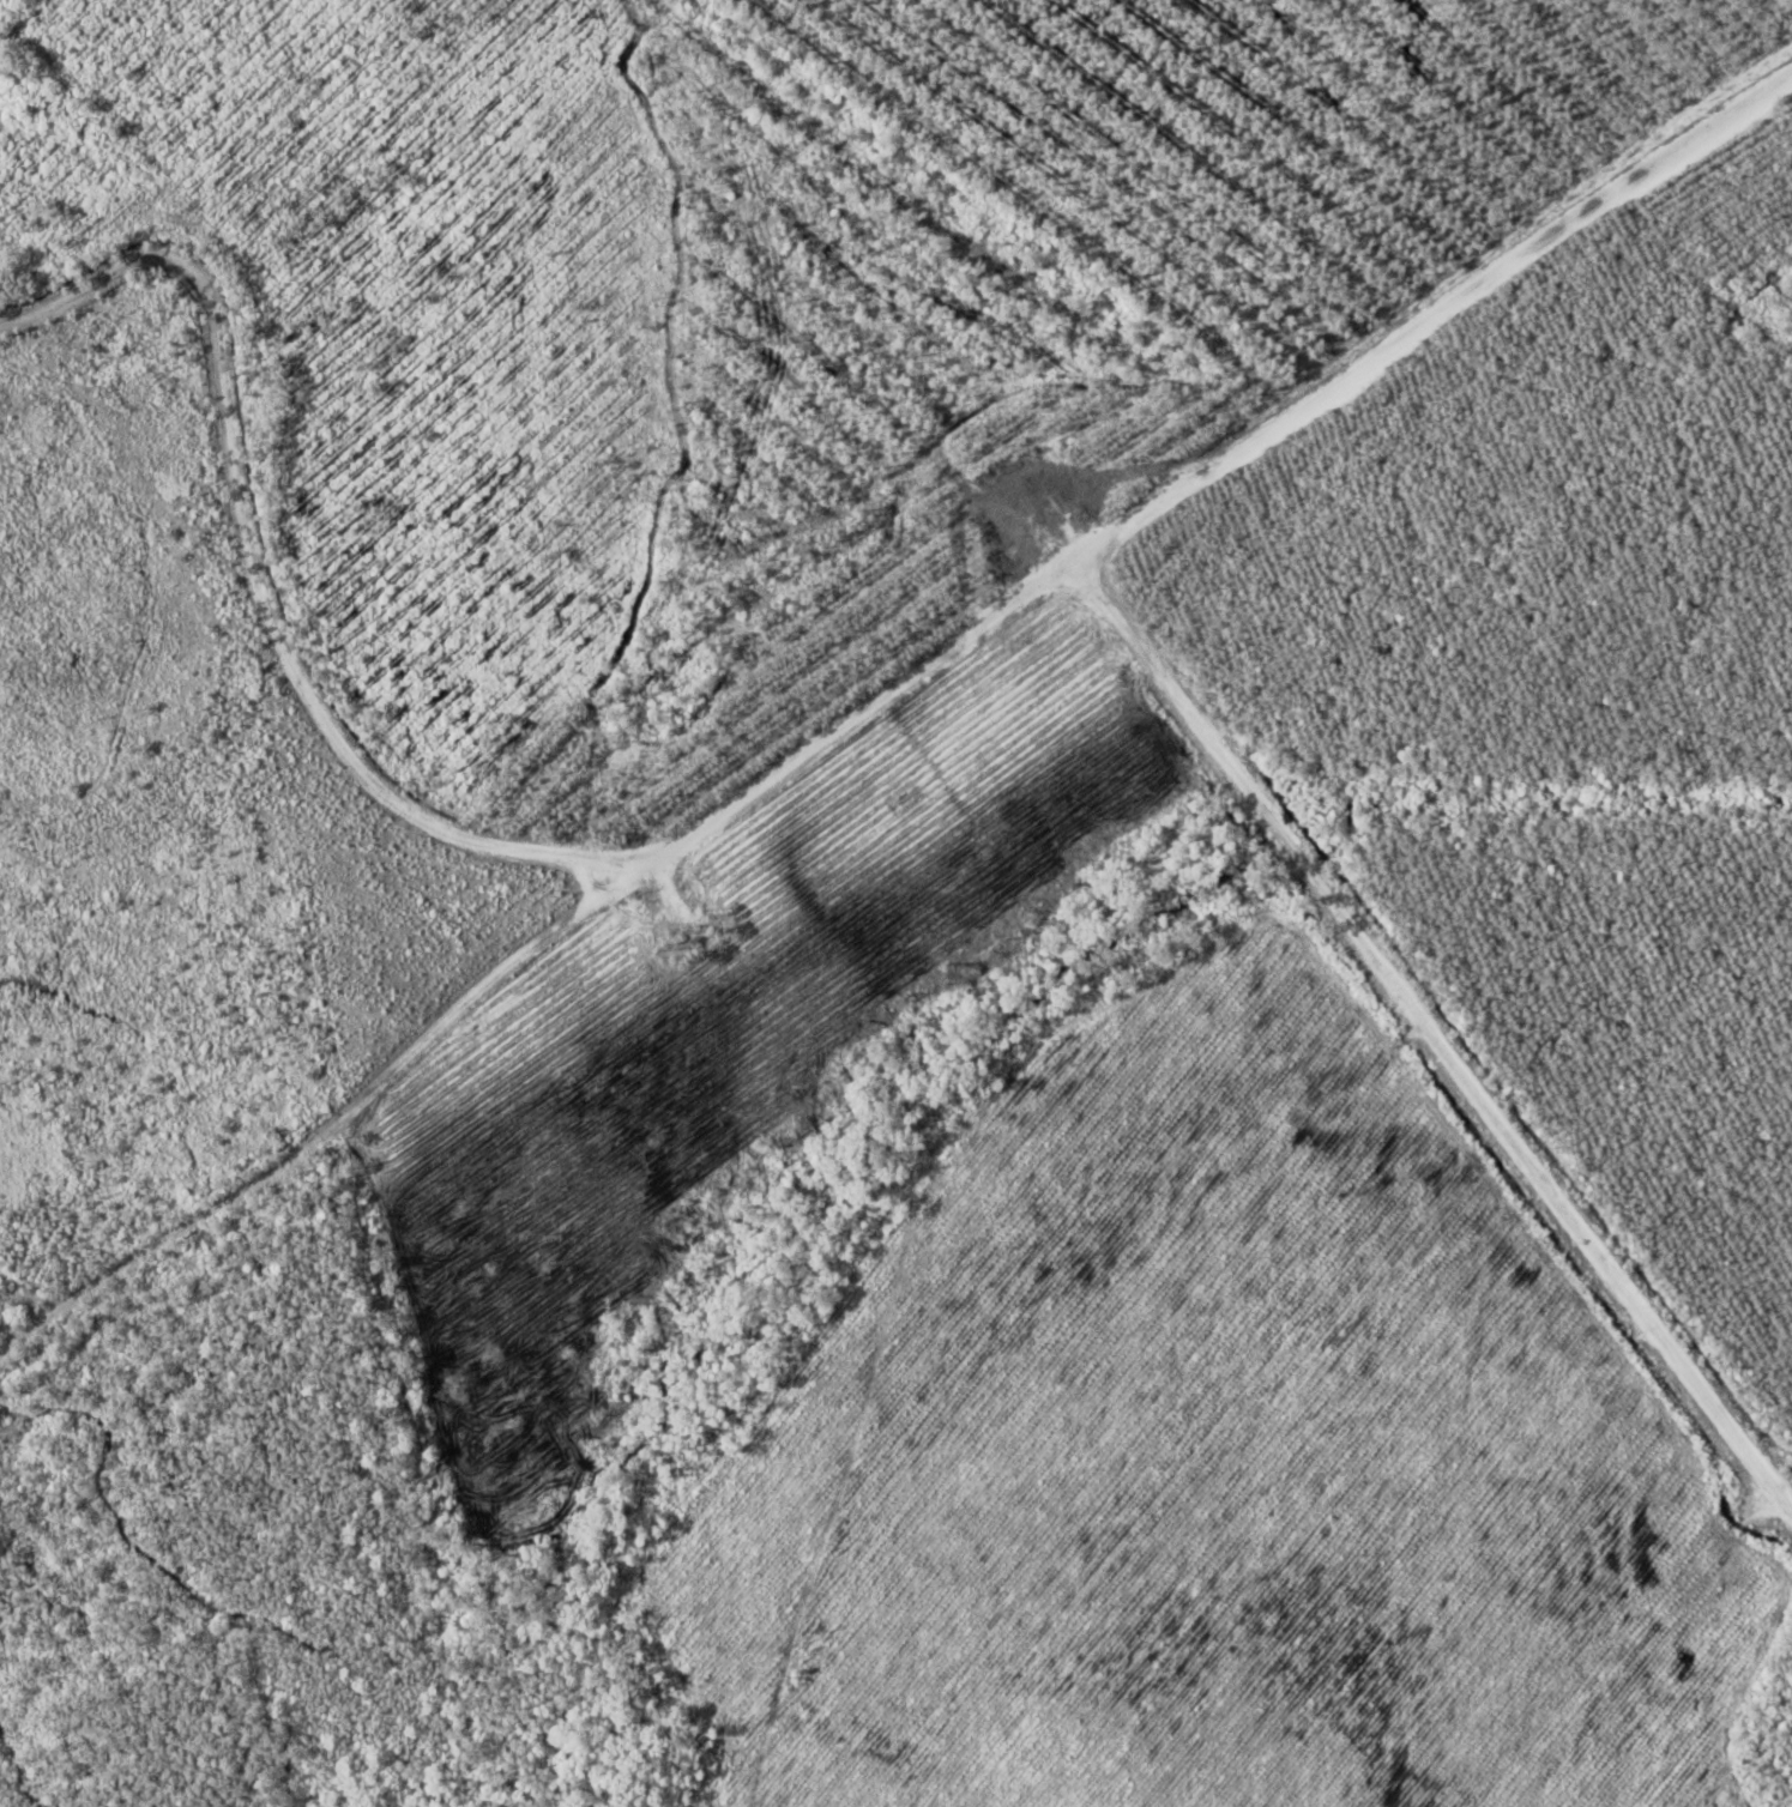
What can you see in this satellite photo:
road: (771, 774)
road: (1442, 1042)
road: (316, 1137)

